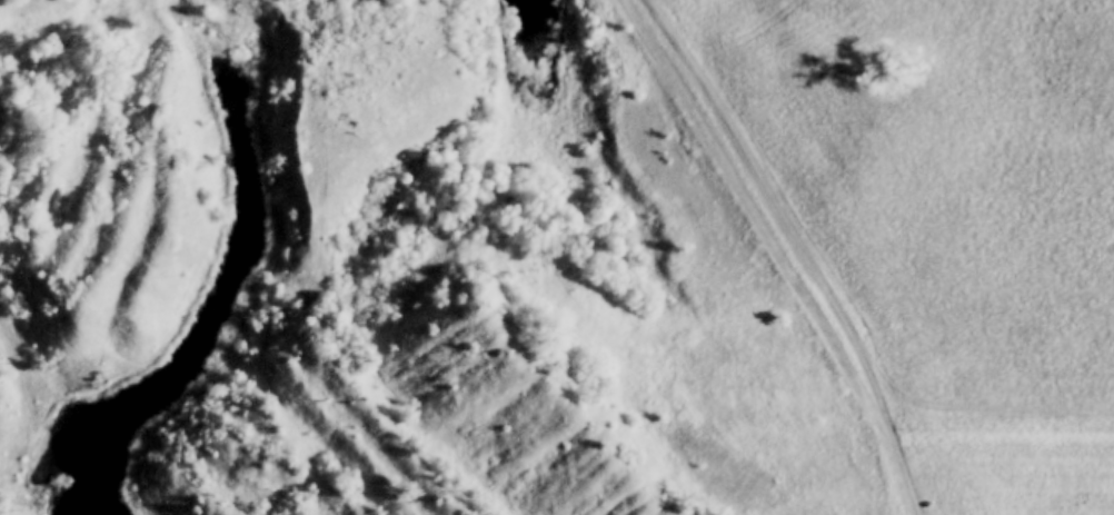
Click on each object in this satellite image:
road: (783, 252)
quarry: (415, 271)

